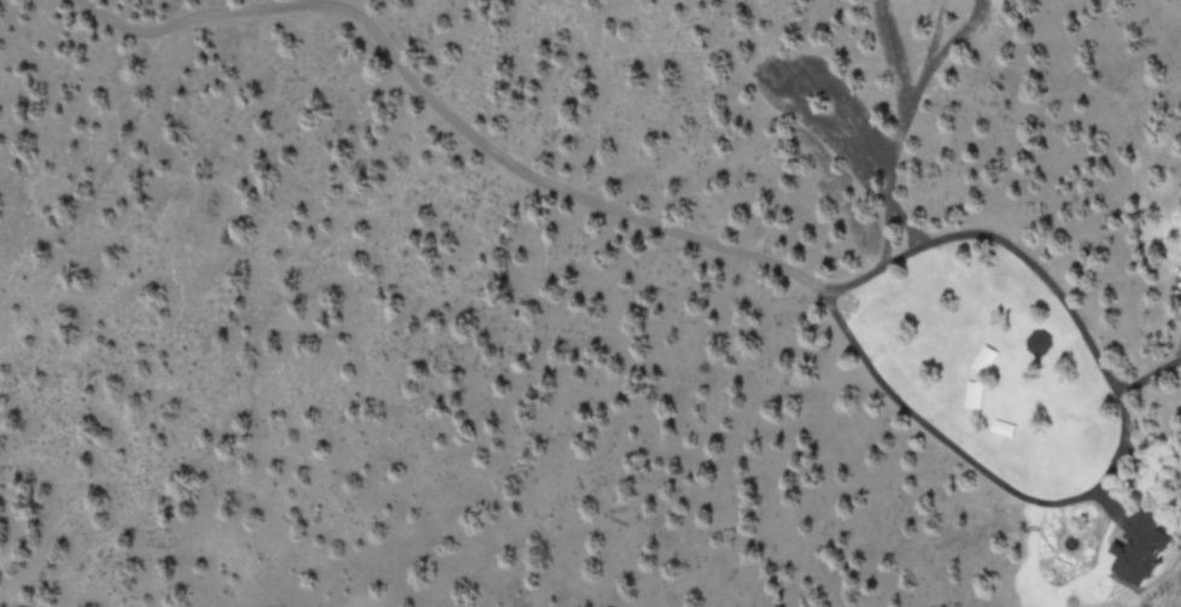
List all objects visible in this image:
building: (1139, 549)

